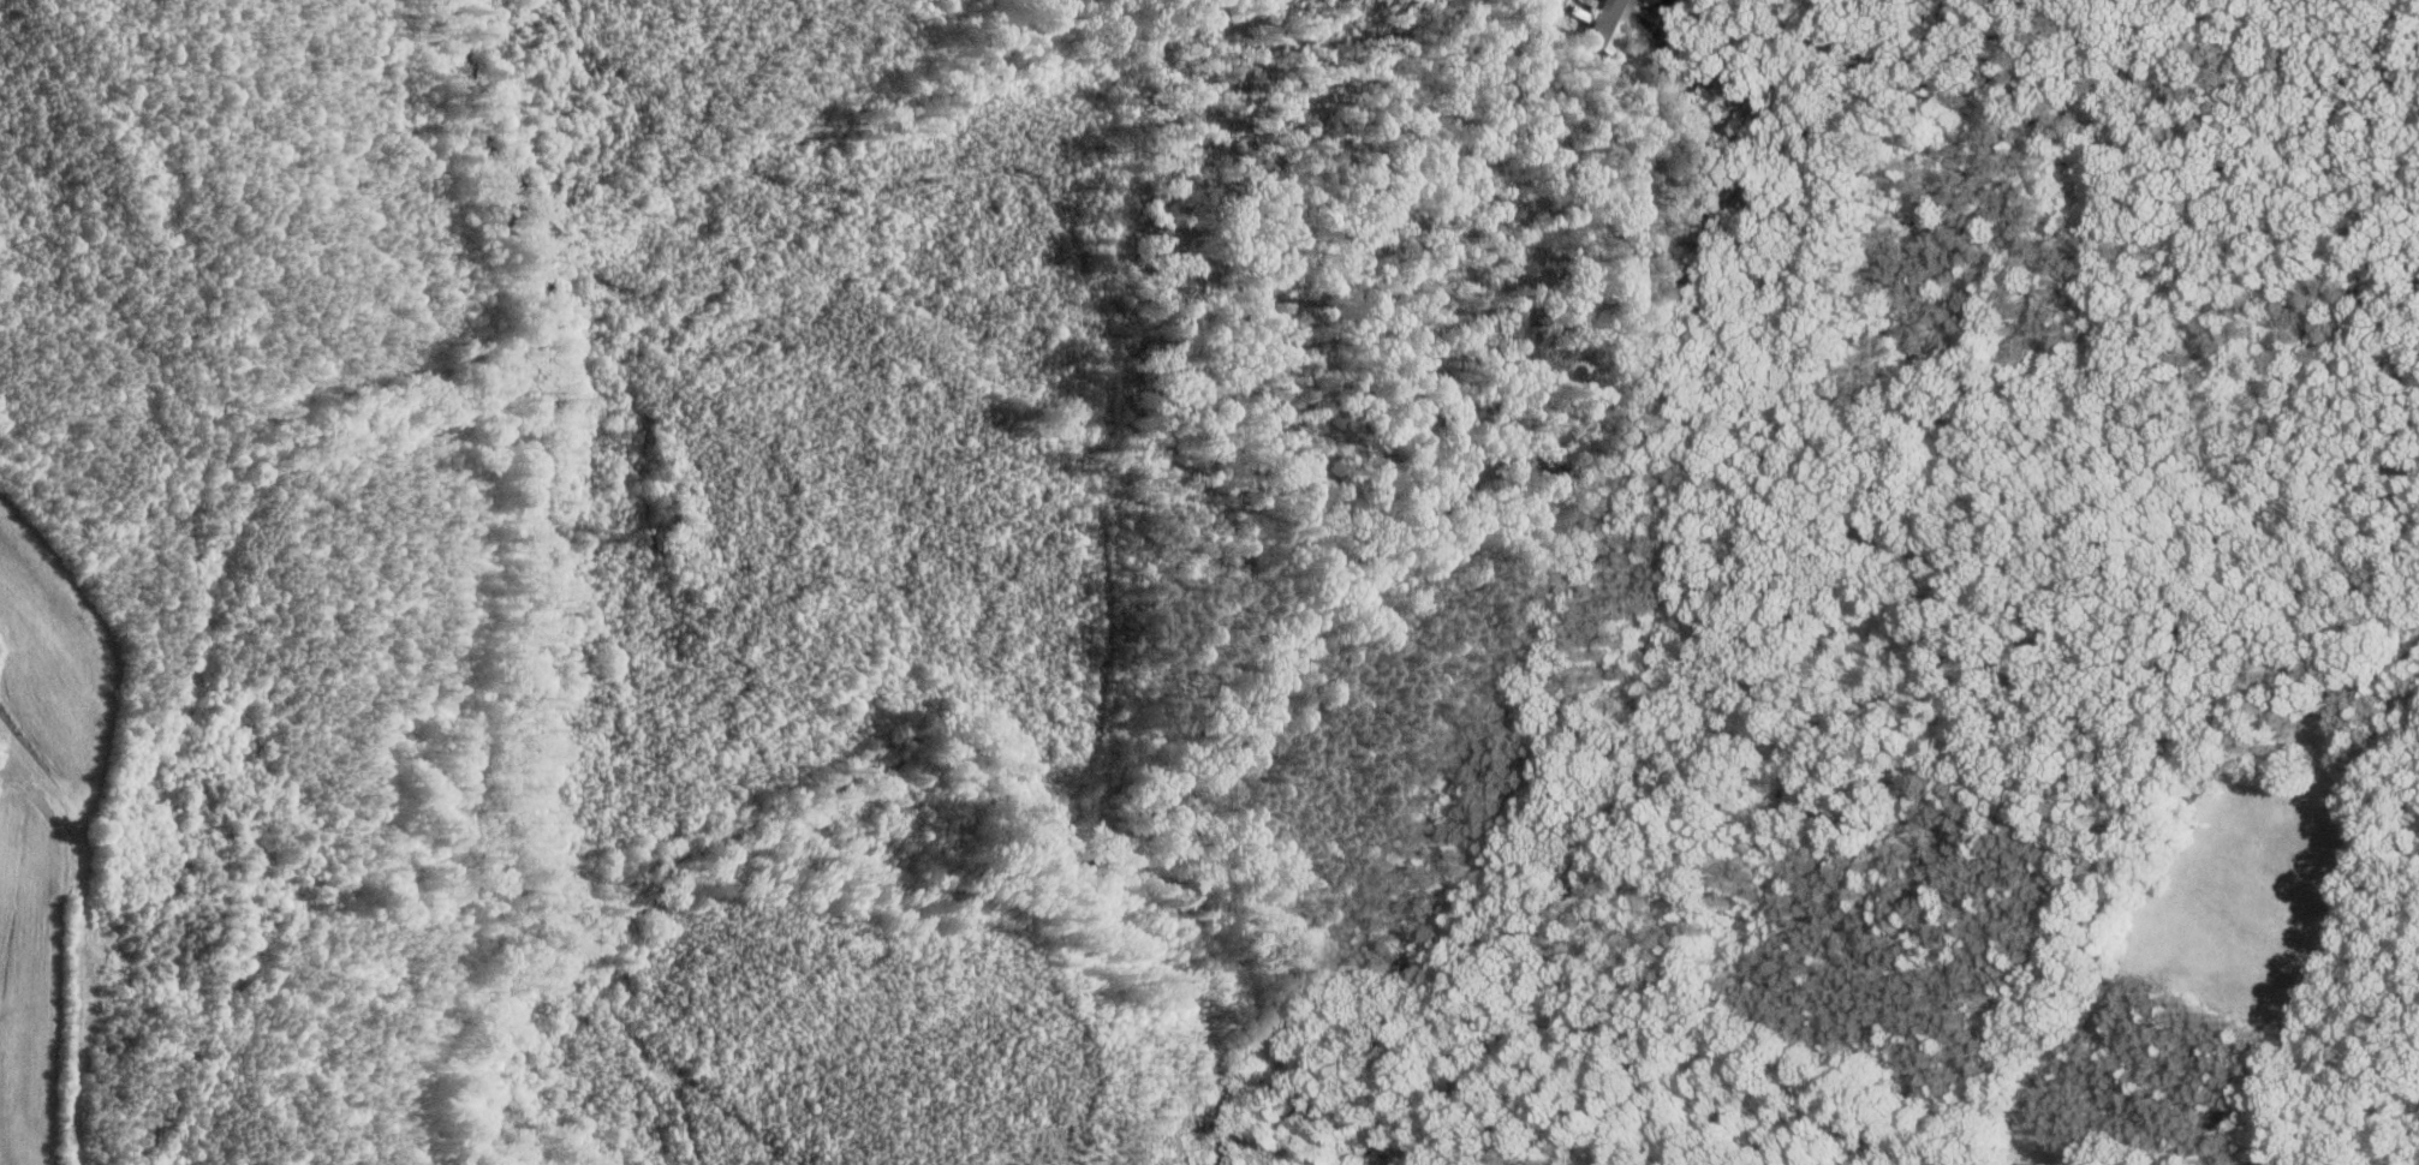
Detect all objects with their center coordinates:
building: (1611, 23)

